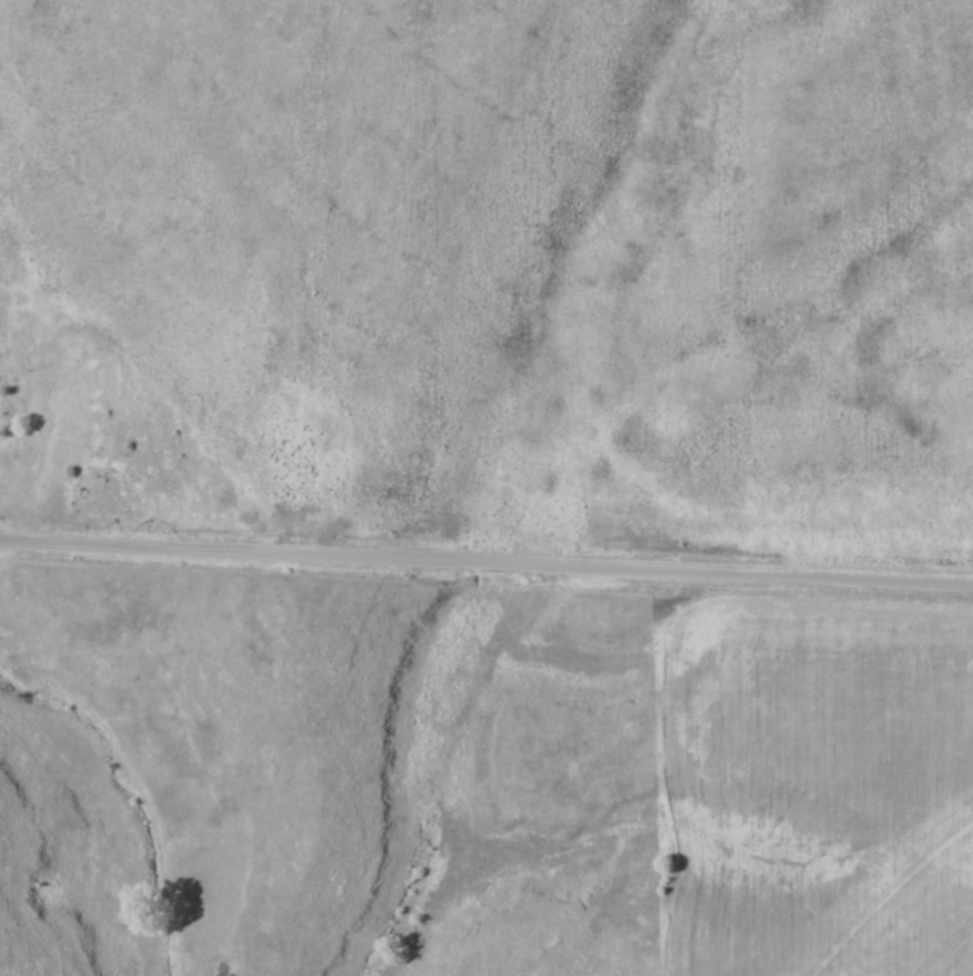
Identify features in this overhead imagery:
road: (486, 560)

